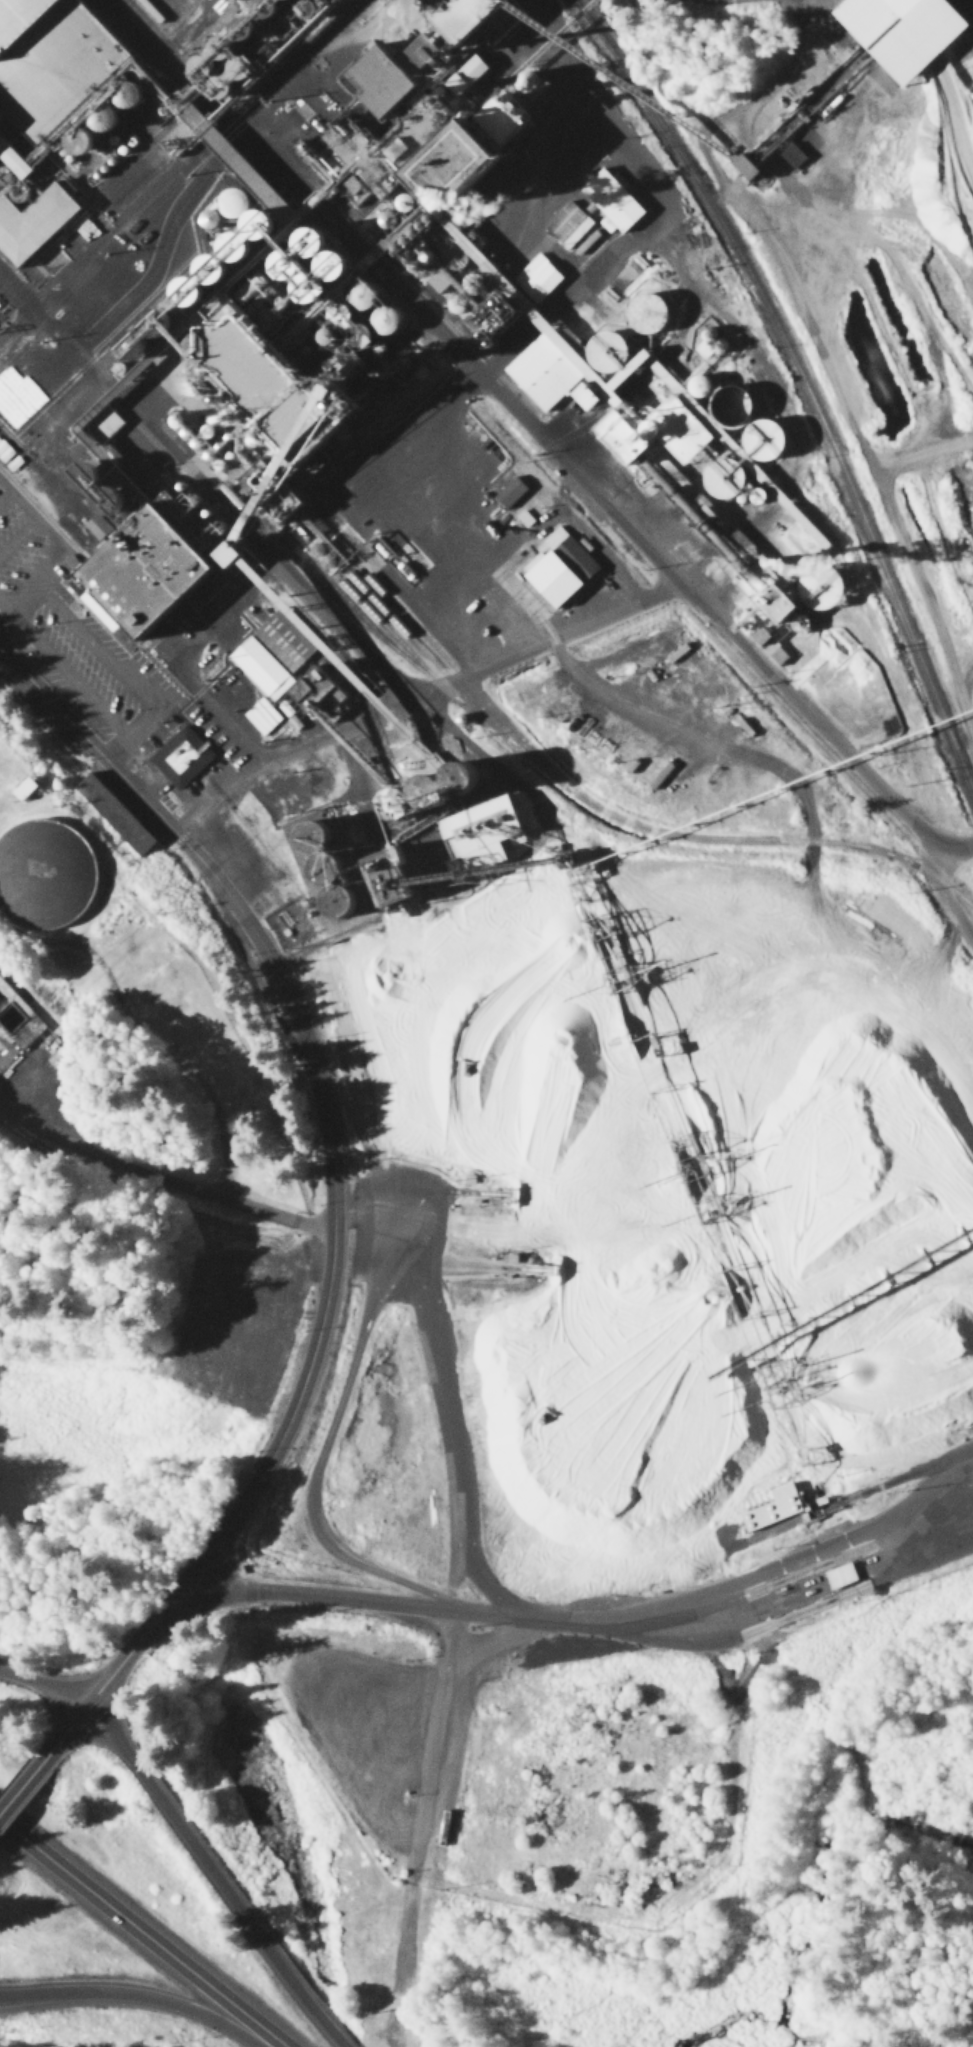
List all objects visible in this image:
building: (26, 21)
building: (909, 32)
building: (401, 76)
road: (254, 135)
building: (792, 157)
building: (32, 201)
building: (616, 201)
building: (238, 203)
building: (567, 224)
road: (115, 230)
road: (26, 312)
building: (652, 314)
railway: (799, 383)
building: (685, 444)
building: (15, 466)
building: (147, 535)
building: (743, 557)
building: (563, 569)
road: (684, 591)
railway: (373, 635)
building: (276, 654)
railway: (428, 664)
railway: (441, 691)
building: (182, 760)
building: (31, 791)
railway: (622, 830)
building: (52, 878)
building: (16, 1013)
road: (334, 1200)
building: (841, 1577)
road: (599, 1632)
road: (42, 1687)
road: (444, 1751)
road: (21, 1791)
road: (212, 1874)
road: (141, 1933)
road: (131, 1996)

